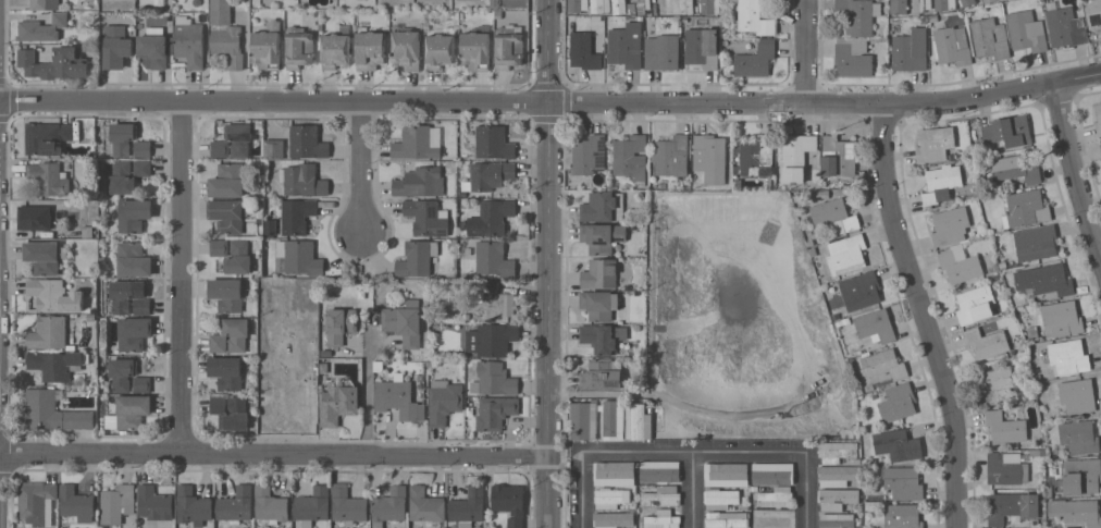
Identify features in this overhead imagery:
building: (1009, 0)
building: (987, 1)
building: (966, 2)
building: (45, 4)
building: (578, 4)
building: (944, 4)
building: (601, 5)
building: (642, 5)
building: (668, 5)
building: (920, 5)
building: (619, 7)
building: (688, 7)
building: (709, 7)
building: (896, 7)
building: (1093, 13)
building: (859, 15)
building: (755, 17)
building: (60, 19)
building: (580, 23)
building: (1064, 25)
building: (37, 30)
building: (1026, 30)
building: (225, 35)
building: (990, 38)
building: (189, 40)
building: (626, 45)
building: (952, 45)
building: (267, 46)
building: (509, 46)
building: (154, 47)
building: (298, 47)
building: (335, 48)
building: (406, 48)
building: (477, 48)
building: (700, 48)
building: (370, 49)
building: (911, 49)
building: (116, 50)
building: (440, 50)
building: (584, 51)
building: (661, 51)
road: (811, 53)
building: (853, 57)
building: (755, 59)
building: (55, 62)
road: (825, 105)
road: (272, 106)
building: (1098, 112)
building: (1009, 131)
building: (46, 137)
building: (123, 137)
building: (238, 137)
building: (307, 142)
building: (418, 142)
building: (494, 142)
building: (935, 143)
building: (1100, 145)
building: (141, 148)
building: (220, 148)
building: (274, 148)
building: (587, 154)
building: (670, 156)
building: (757, 156)
building: (796, 156)
building: (839, 156)
building: (630, 157)
building: (710, 157)
building: (1014, 169)
road: (1068, 171)
road: (363, 173)
building: (127, 174)
building: (491, 174)
building: (944, 176)
building: (49, 177)
building: (227, 180)
building: (301, 181)
building: (420, 182)
building: (930, 197)
building: (603, 206)
building: (1026, 208)
building: (134, 213)
building: (227, 214)
building: (297, 214)
building: (834, 216)
building: (34, 217)
building: (426, 217)
building: (492, 217)
building: (950, 225)
building: (270, 226)
road: (547, 226)
building: (87, 232)
building: (602, 236)
building: (1036, 242)
building: (846, 253)
building: (233, 254)
building: (45, 256)
building: (299, 256)
building: (417, 257)
building: (494, 258)
building: (133, 259)
building: (960, 263)
building: (599, 273)
building: (1044, 279)
road: (187, 282)
building: (861, 290)
building: (226, 294)
building: (54, 295)
building: (122, 295)
building: (496, 299)
building: (975, 303)
building: (598, 304)
building: (141, 306)
road: (919, 316)
building: (1062, 317)
building: (404, 322)
building: (339, 324)
building: (876, 326)
building: (49, 332)
building: (134, 332)
building: (232, 335)
building: (603, 336)
building: (492, 339)
building: (986, 342)
building: (1068, 356)
building: (55, 364)
building: (883, 365)
building: (226, 371)
building: (122, 372)
building: (602, 373)
building: (493, 379)
building: (140, 383)
building: (995, 383)
road: (367, 390)
building: (1077, 395)
building: (397, 400)
building: (338, 401)
building: (444, 401)
building: (898, 402)
building: (132, 410)
building: (494, 410)
building: (53, 412)
building: (231, 412)
building: (611, 419)
building: (583, 420)
building: (638, 421)
building: (1005, 427)
building: (1079, 435)
building: (899, 445)
building: (836, 451)
road: (696, 454)
road: (275, 458)
building: (1006, 467)
building: (659, 470)
building: (614, 472)
building: (774, 472)
building: (727, 474)
building: (838, 475)
building: (1081, 476)
building: (903, 482)
road: (550, 491)
road: (586, 491)
road: (692, 491)
road: (806, 491)
building: (661, 495)
building: (610, 496)
building: (777, 496)
building: (35, 498)
building: (720, 498)
building: (837, 498)
building: (509, 502)
building: (117, 503)
building: (154, 503)
building: (75, 504)
building: (270, 504)
building: (347, 504)
building: (389, 504)
building: (425, 504)
building: (193, 505)
building: (235, 505)
building: (312, 505)
building: (468, 506)
building: (1012, 506)
building: (1076, 511)
building: (902, 516)
building: (774, 518)
building: (615, 519)
building: (660, 519)
building: (726, 519)
building: (837, 519)

